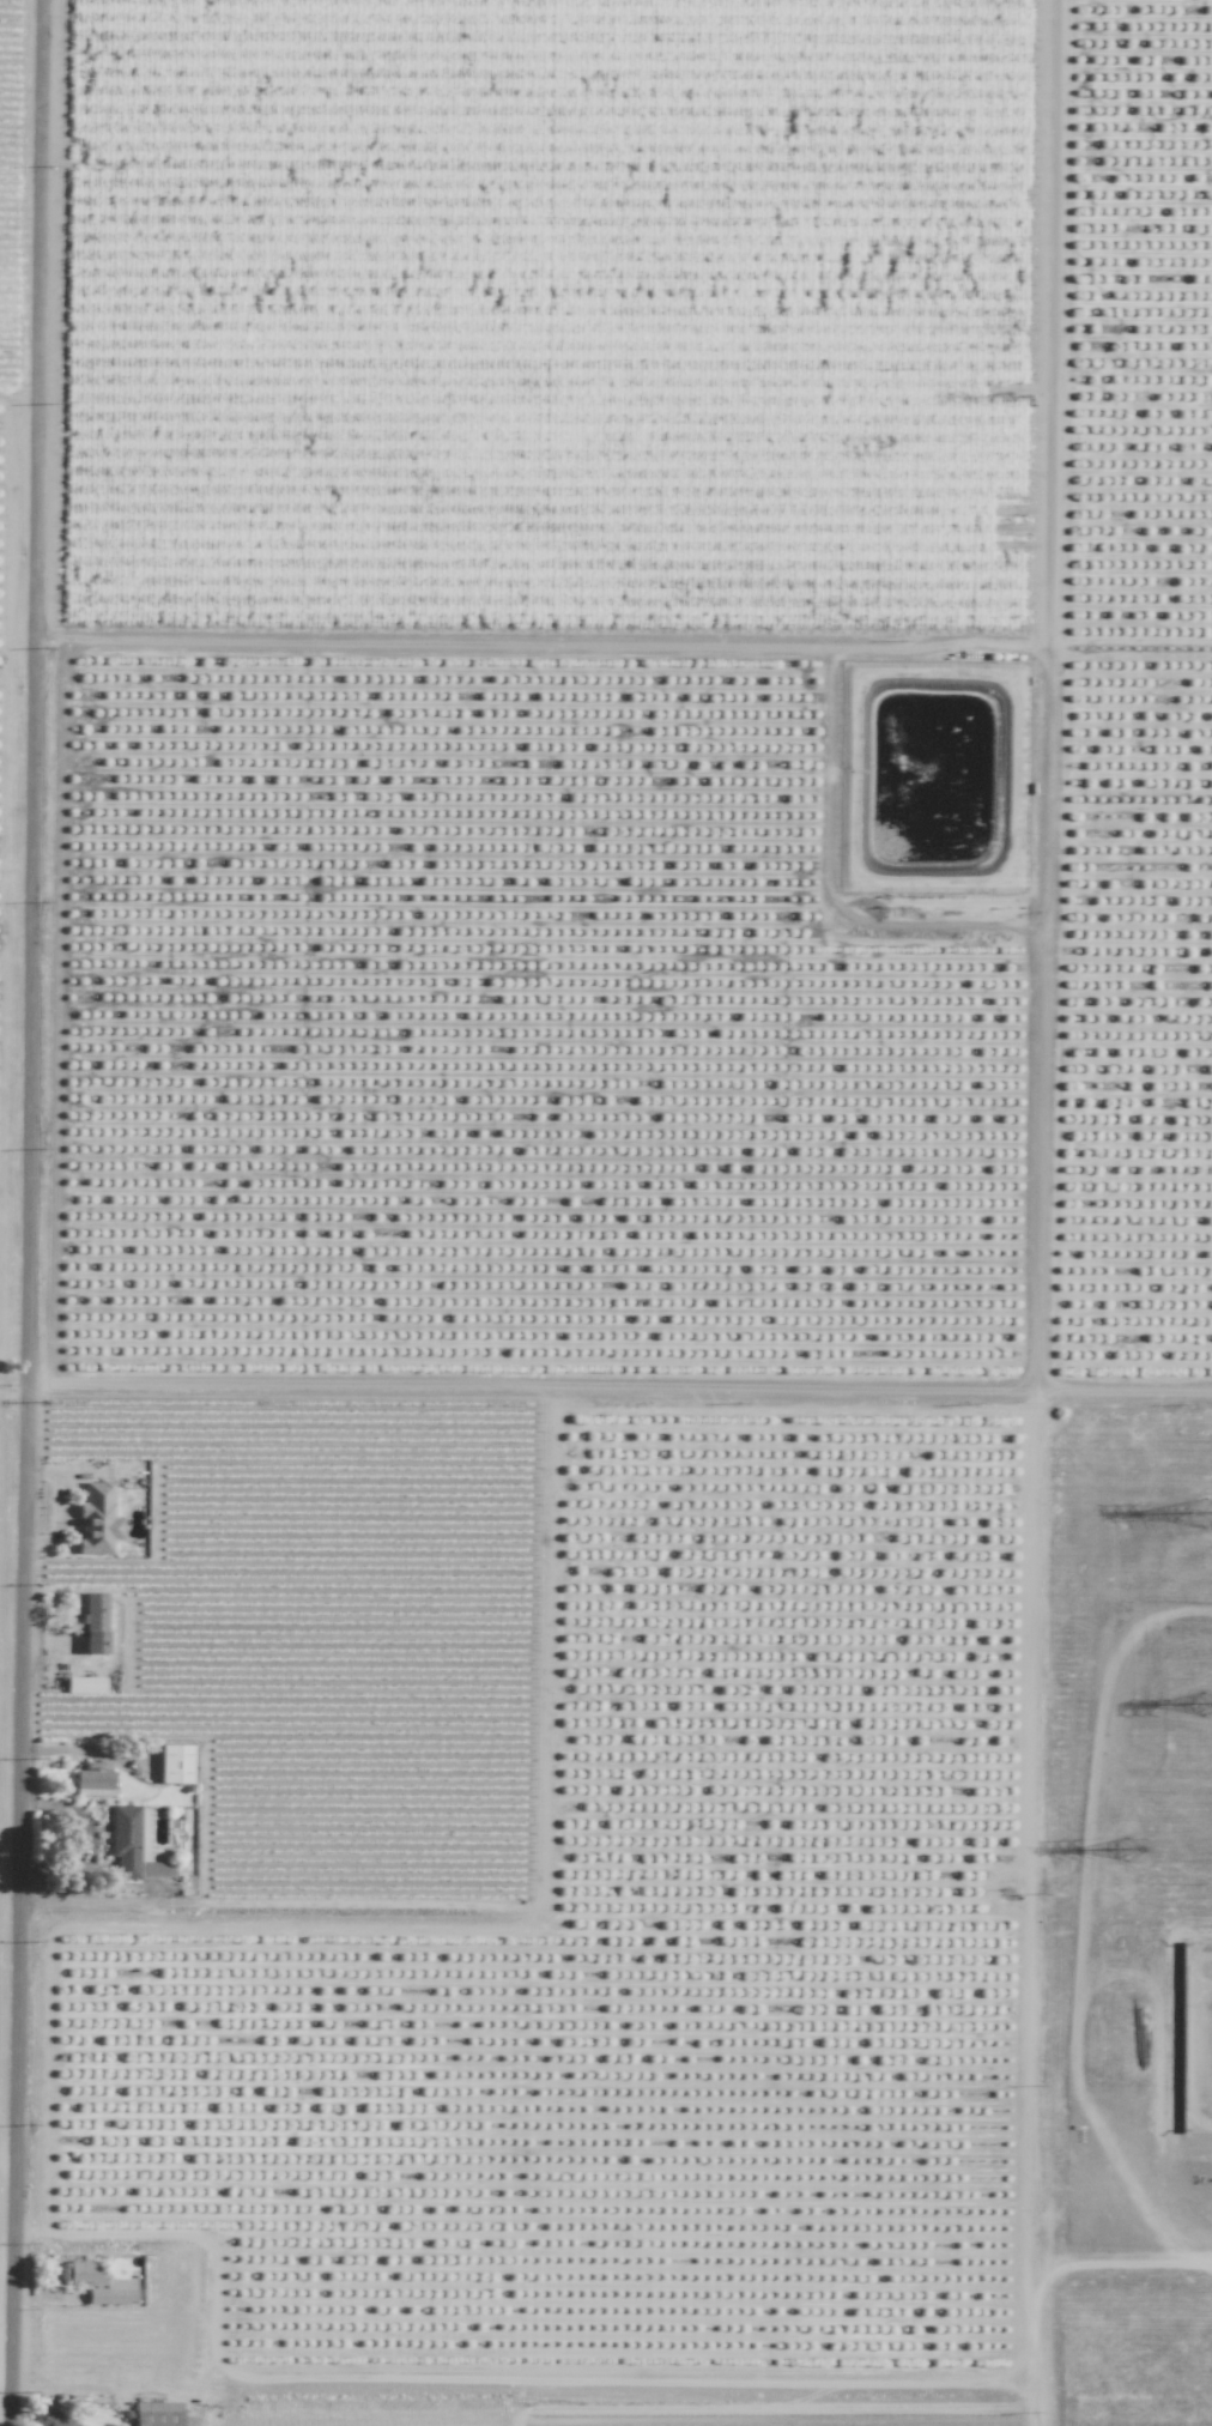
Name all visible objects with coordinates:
road: (1041, 1016)
road: (25, 1212)
road: (12, 1392)
power tower: (1201, 1514)
building: (97, 1519)
building: (95, 1623)
building: (85, 1684)
power tower: (1201, 1706)
building: (175, 1763)
building: (95, 1783)
building: (133, 1845)
power tower: (1120, 1851)
power substation: (1195, 2038)
building: (97, 2282)
building: (157, 2414)
building: (50, 2418)

